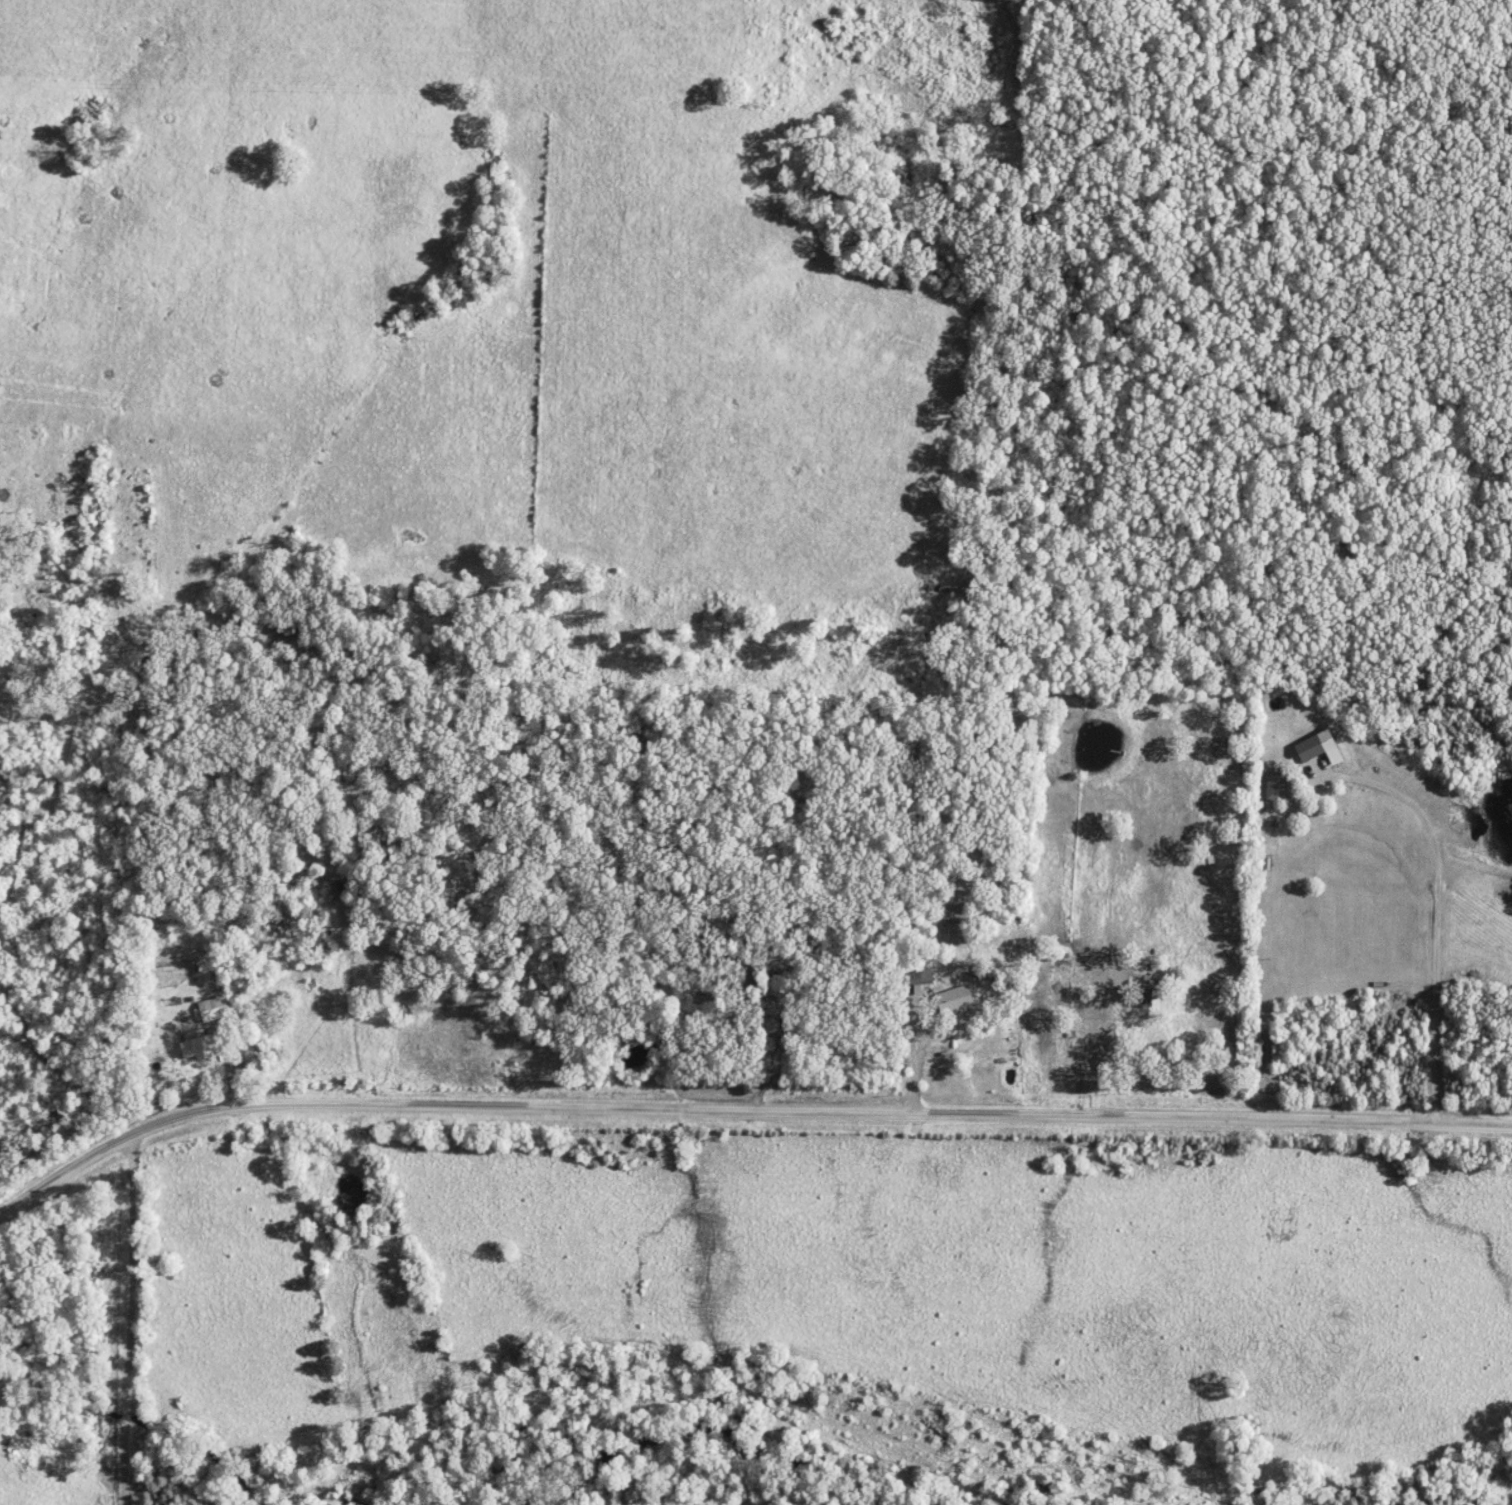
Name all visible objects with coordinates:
building: (1321, 748)
building: (1278, 788)
road: (1442, 898)
building: (920, 976)
building: (957, 1002)
building: (215, 1010)
road: (759, 1031)
road: (919, 1043)
building: (198, 1046)
road: (230, 1063)
road: (741, 1109)
road: (130, 1318)

